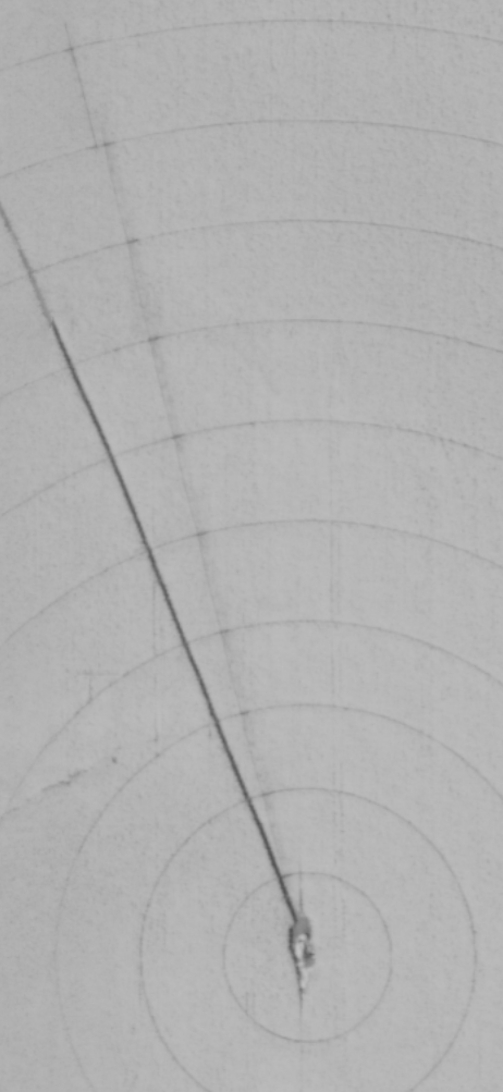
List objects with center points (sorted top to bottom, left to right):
building: (335, 14)

